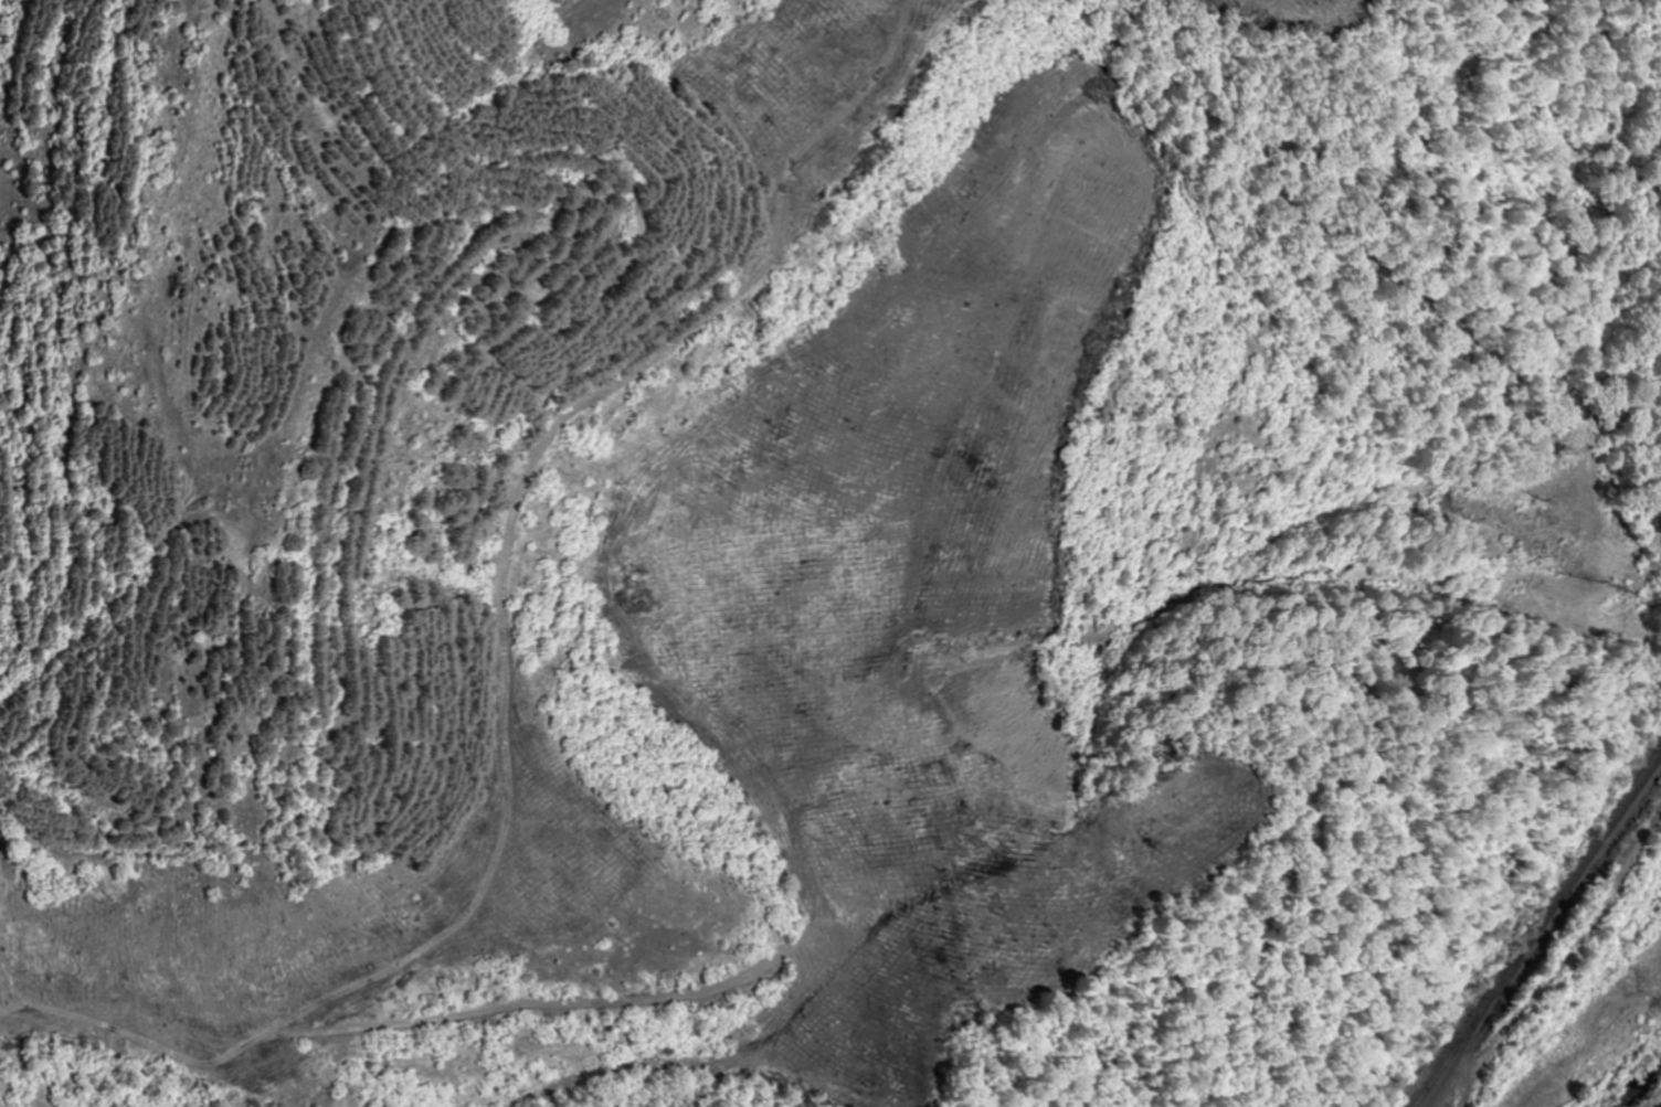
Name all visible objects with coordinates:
road: (1659, 643)
railway: (1534, 928)
road: (1558, 954)

